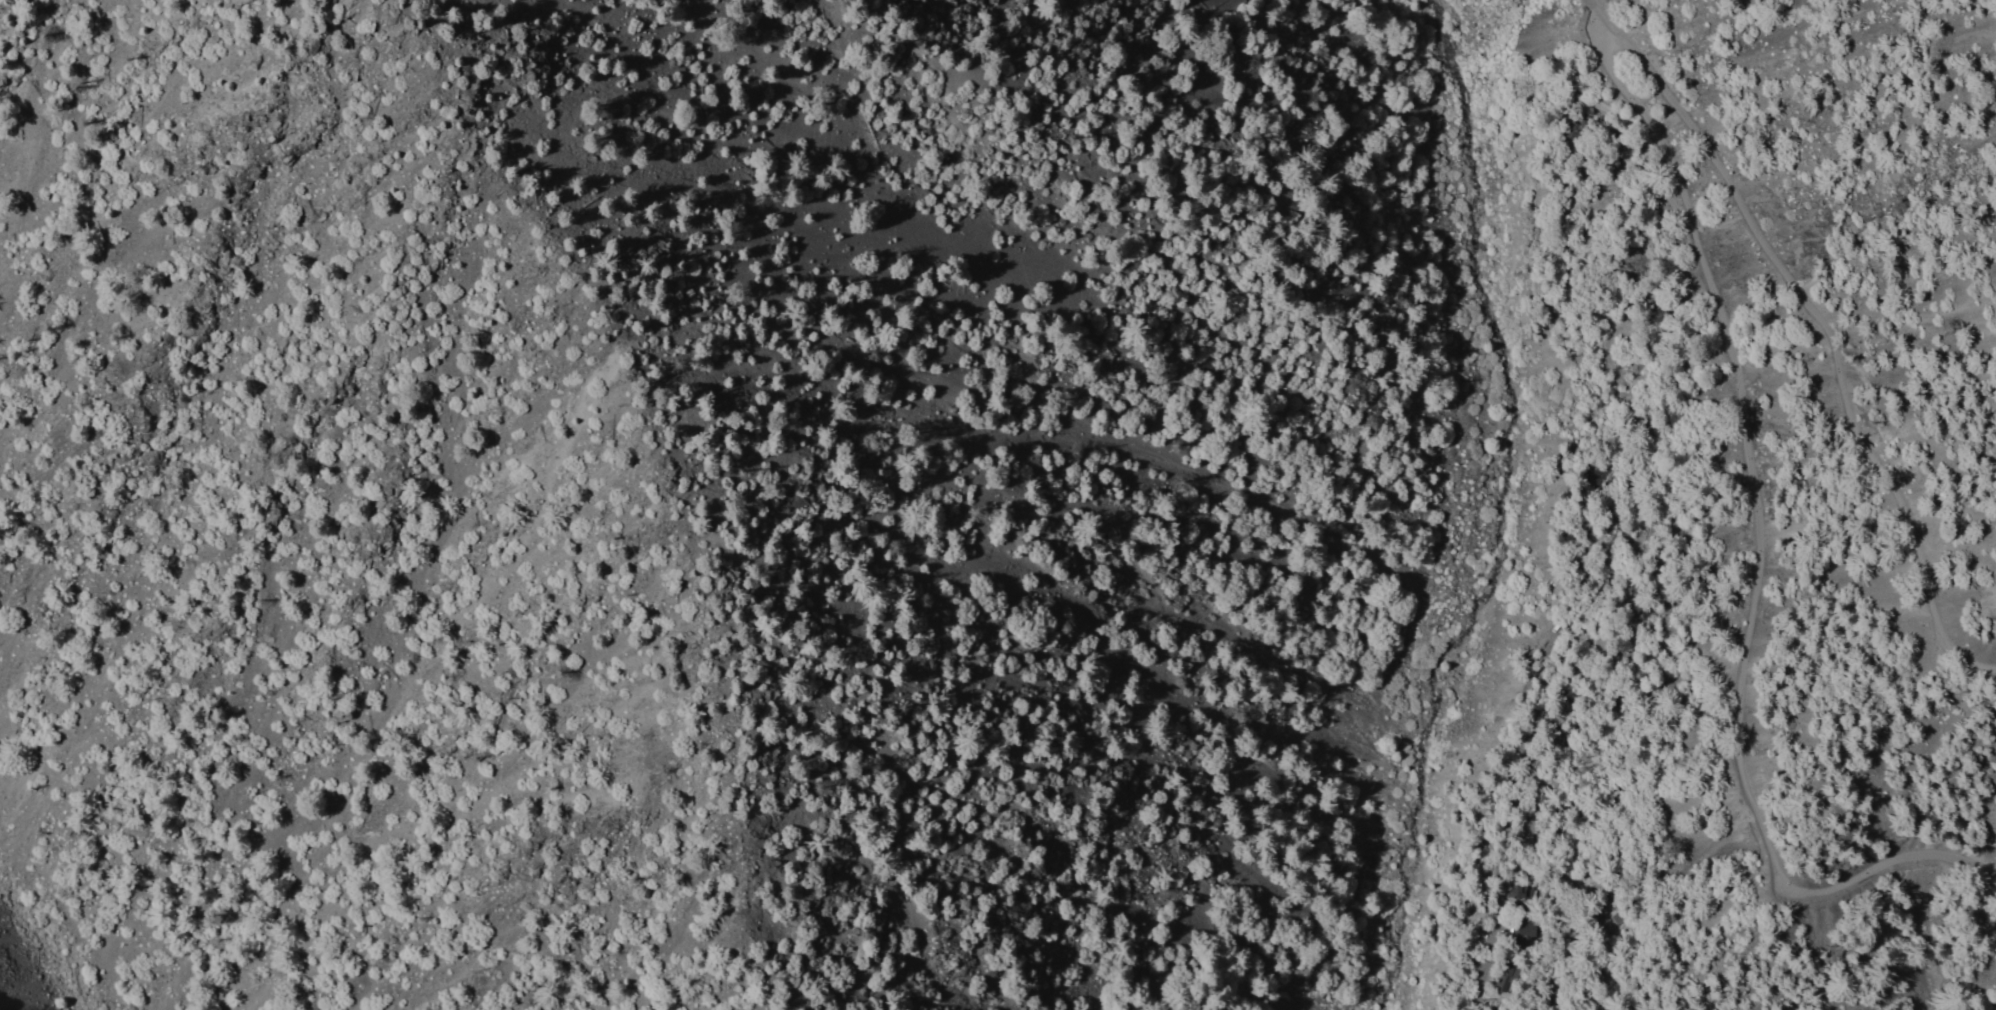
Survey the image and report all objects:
road: (1592, 17)
road: (1627, 120)
building: (1609, 165)
road: (1654, 185)
road: (1818, 341)
road: (1701, 357)
building: (1593, 476)
road: (1754, 562)
building: (1630, 628)
building: (1559, 738)
road: (1516, 748)
building: (1526, 837)
building: (1515, 890)
building: (1525, 929)
road: (1625, 937)
building: (1506, 974)
building: (1495, 987)

